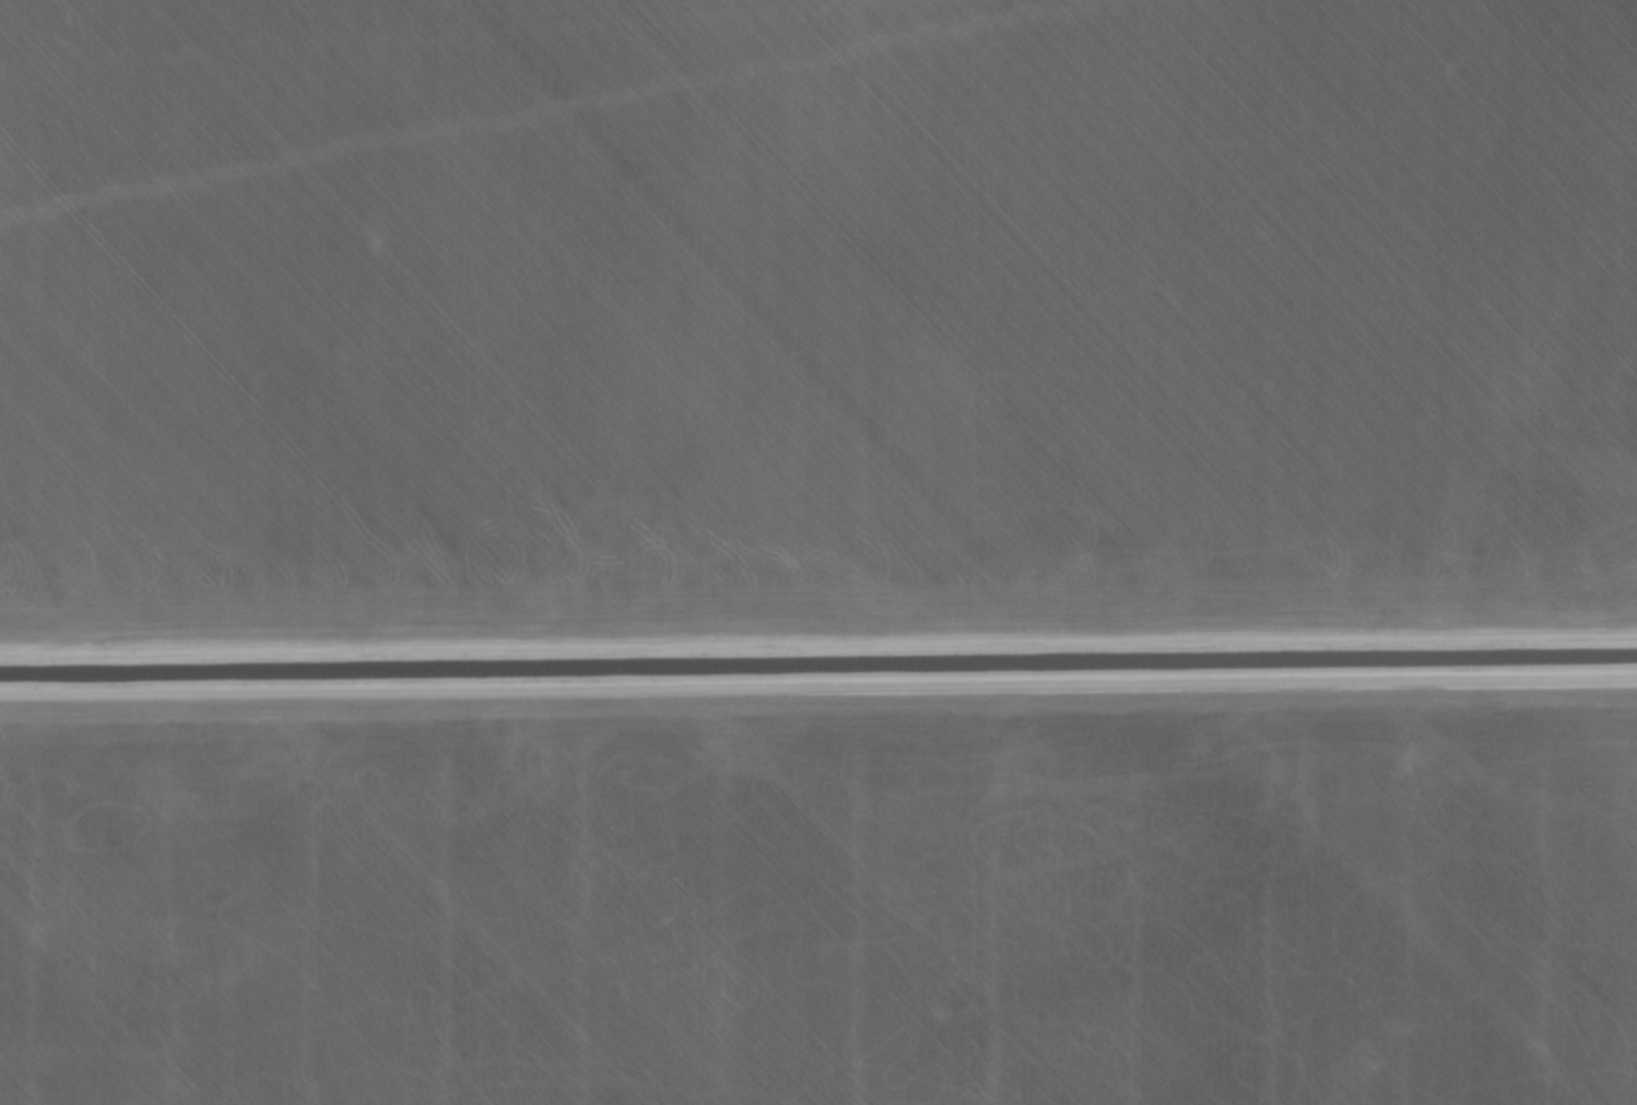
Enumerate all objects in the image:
road: (817, 683)

